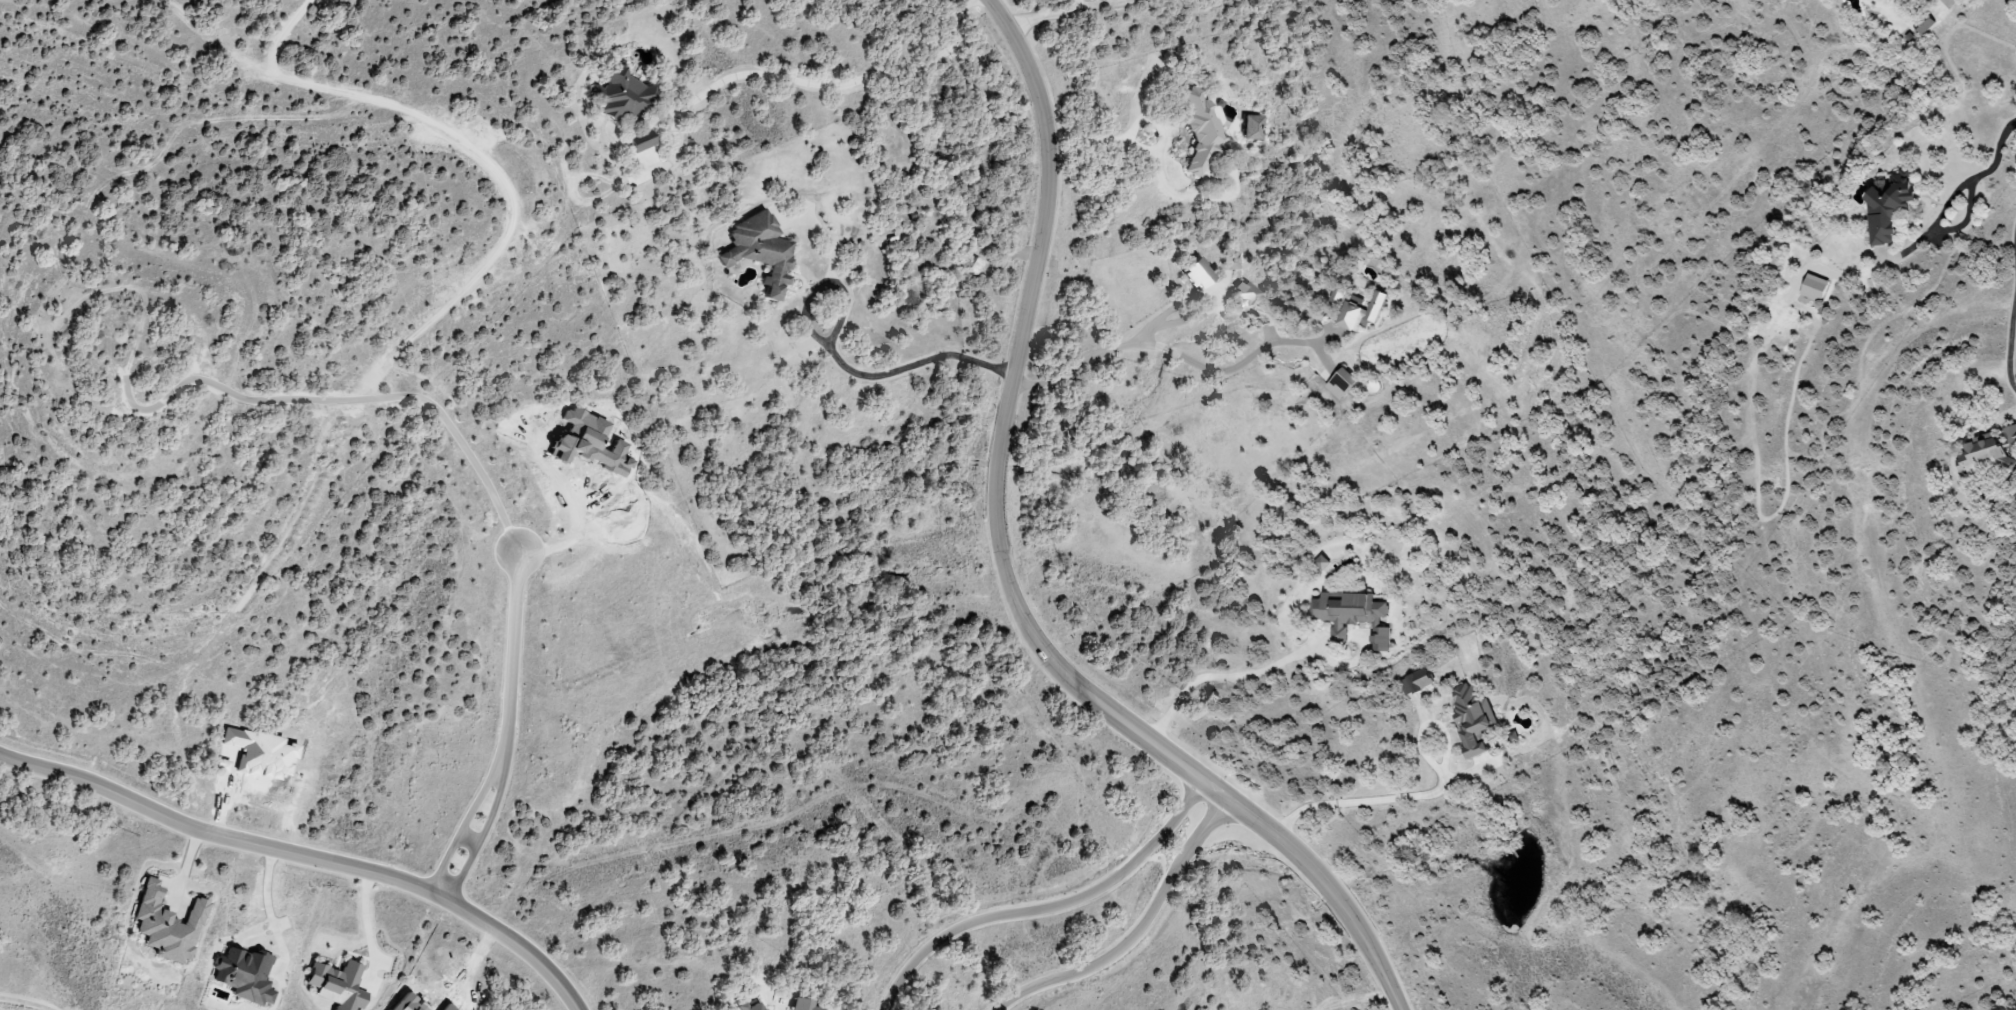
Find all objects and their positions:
road: (1101, 4)
road: (1075, 6)
road: (1040, 19)
road: (810, 84)
building: (619, 96)
building: (1247, 127)
building: (1197, 131)
road: (1093, 139)
building: (637, 144)
road: (1987, 168)
building: (1886, 205)
road: (827, 233)
road: (2014, 233)
building: (757, 250)
building: (976, 266)
building: (1193, 273)
building: (1813, 286)
building: (1243, 293)
building: (1337, 294)
building: (1360, 312)
road: (1181, 321)
road: (2009, 338)
road: (1177, 353)
road: (844, 360)
building: (1340, 383)
building: (2010, 436)
building: (1982, 455)
road: (1004, 576)
building: (1351, 616)
road: (1224, 678)
building: (1415, 682)
building: (1471, 718)
road: (507, 719)
road: (1364, 801)
road: (1224, 818)
road: (308, 851)
road: (186, 868)
road: (267, 909)
road: (1048, 910)
road: (368, 918)
building: (164, 925)
road: (1136, 933)
building: (242, 976)
building: (335, 985)
road: (23, 1003)
building: (804, 1005)

